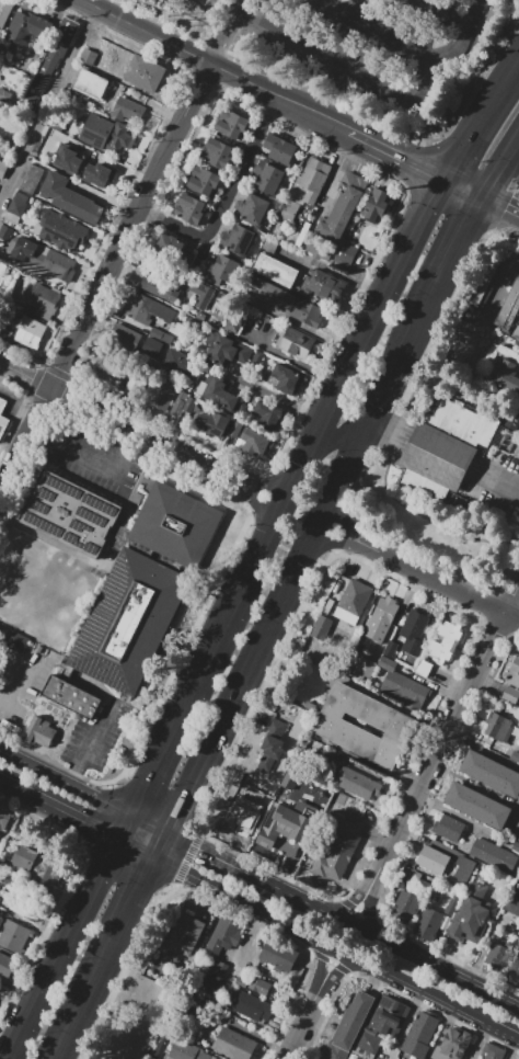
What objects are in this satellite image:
road: (216, 8)
road: (239, 8)
building: (4, 11)
road: (341, 13)
road: (445, 13)
building: (25, 29)
road: (224, 39)
road: (396, 43)
building: (55, 52)
building: (89, 56)
road: (216, 64)
building: (145, 73)
road: (380, 82)
building: (90, 84)
building: (4, 96)
road: (47, 103)
building: (1, 107)
building: (127, 111)
road: (480, 119)
building: (232, 125)
building: (105, 135)
building: (44, 147)
building: (280, 149)
building: (217, 153)
road: (396, 153)
traffic signals: (459, 155)
building: (69, 160)
traffic signals: (414, 162)
building: (2, 169)
road: (501, 170)
road: (339, 173)
building: (97, 174)
building: (31, 180)
building: (269, 180)
building: (203, 181)
building: (310, 181)
building: (355, 181)
road: (464, 187)
road: (510, 192)
road: (227, 194)
building: (70, 198)
building: (16, 204)
building: (377, 205)
road: (500, 205)
traffic signals: (505, 207)
building: (189, 208)
building: (256, 209)
building: (339, 215)
building: (60, 230)
building: (5, 232)
traffic signals: (468, 234)
building: (299, 240)
building: (241, 241)
building: (270, 244)
building: (172, 248)
building: (319, 248)
building: (344, 254)
road: (455, 258)
building: (44, 259)
building: (276, 270)
building: (218, 271)
road: (335, 271)
road: (107, 280)
building: (485, 282)
road: (500, 284)
building: (323, 285)
building: (160, 289)
building: (197, 291)
building: (270, 293)
building: (43, 303)
building: (146, 309)
building: (509, 311)
building: (308, 312)
road: (370, 320)
building: (234, 327)
building: (30, 332)
building: (161, 335)
building: (124, 338)
building: (464, 338)
building: (297, 342)
building: (151, 346)
building: (228, 351)
building: (257, 358)
building: (180, 364)
building: (113, 372)
road: (400, 372)
building: (505, 375)
building: (288, 379)
building: (132, 386)
building: (221, 395)
building: (158, 397)
road: (278, 399)
building: (177, 402)
building: (2, 405)
building: (188, 405)
building: (242, 409)
traffic signals: (383, 409)
building: (268, 417)
traffic signals: (323, 419)
building: (465, 420)
building: (214, 423)
building: (3, 424)
building: (234, 432)
road: (139, 434)
road: (391, 435)
building: (257, 445)
road: (336, 446)
road: (74, 453)
building: (435, 462)
traffic signals: (357, 463)
traffic signals: (299, 465)
road: (397, 466)
road: (349, 477)
parking lot: (500, 483)
road: (493, 485)
road: (419, 513)
building: (70, 515)
building: (175, 524)
park: (442, 527)
road: (264, 534)
road: (496, 540)
road: (286, 549)
road: (422, 574)
building: (353, 602)
building: (381, 619)
building: (128, 622)
building: (321, 628)
building: (414, 631)
building: (14, 641)
road: (270, 641)
building: (446, 641)
building: (390, 649)
building: (364, 669)
road: (198, 670)
building: (514, 673)
road: (12, 684)
building: (402, 685)
building: (510, 695)
building: (71, 697)
building: (276, 726)
building: (392, 726)
building: (498, 728)
building: (35, 731)
road: (89, 744)
building: (270, 751)
road: (436, 755)
building: (515, 756)
road: (30, 761)
traffic signals: (149, 772)
road: (148, 773)
building: (491, 773)
building: (358, 784)
road: (22, 795)
road: (118, 805)
building: (477, 805)
road: (188, 810)
building: (4, 813)
building: (285, 822)
road: (79, 824)
traffic signals: (82, 827)
building: (235, 828)
building: (448, 828)
building: (518, 838)
building: (339, 844)
building: (277, 845)
traffic signals: (203, 846)
building: (515, 846)
road: (106, 854)
road: (137, 854)
building: (494, 854)
road: (223, 857)
building: (432, 859)
building: (33, 863)
building: (464, 868)
building: (413, 876)
road: (274, 884)
road: (209, 889)
road: (145, 896)
road: (83, 901)
traffic signals: (142, 902)
road: (315, 904)
building: (405, 906)
building: (514, 907)
building: (24, 909)
building: (471, 915)
building: (428, 924)
building: (11, 934)
building: (187, 934)
building: (223, 935)
building: (278, 956)
building: (494, 957)
building: (7, 966)
road: (436, 966)
building: (221, 969)
road: (379, 973)
road: (43, 981)
building: (241, 982)
building: (259, 984)
road: (95, 991)
building: (239, 999)
road: (311, 1005)
building: (389, 1017)
building: (348, 1026)
building: (419, 1034)
road: (509, 1037)
building: (369, 1043)
building: (233, 1044)
building: (453, 1044)
building: (161, 1046)
building: (187, 1051)
building: (494, 1055)
road: (60, 1058)

